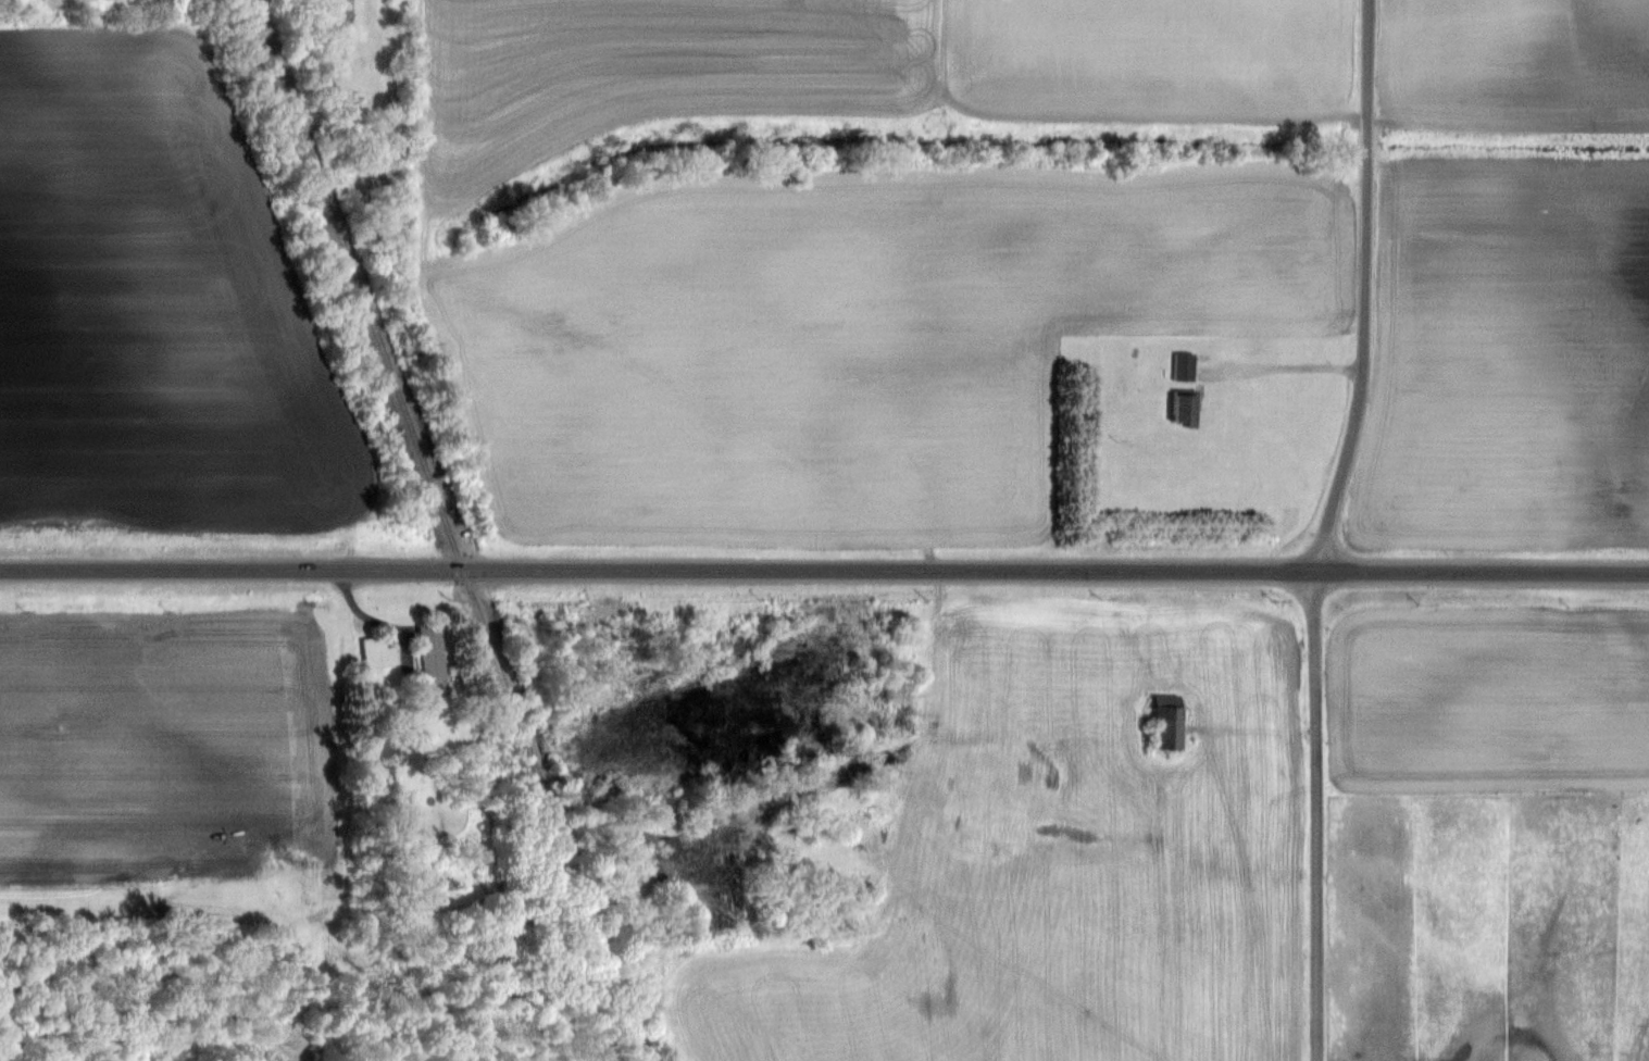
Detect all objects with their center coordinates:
road: (1366, 288)
building: (1186, 366)
road: (1288, 366)
building: (1187, 409)
railway: (452, 530)
road: (824, 570)
building: (379, 653)
building: (435, 659)
building: (1171, 723)
road: (1320, 815)

